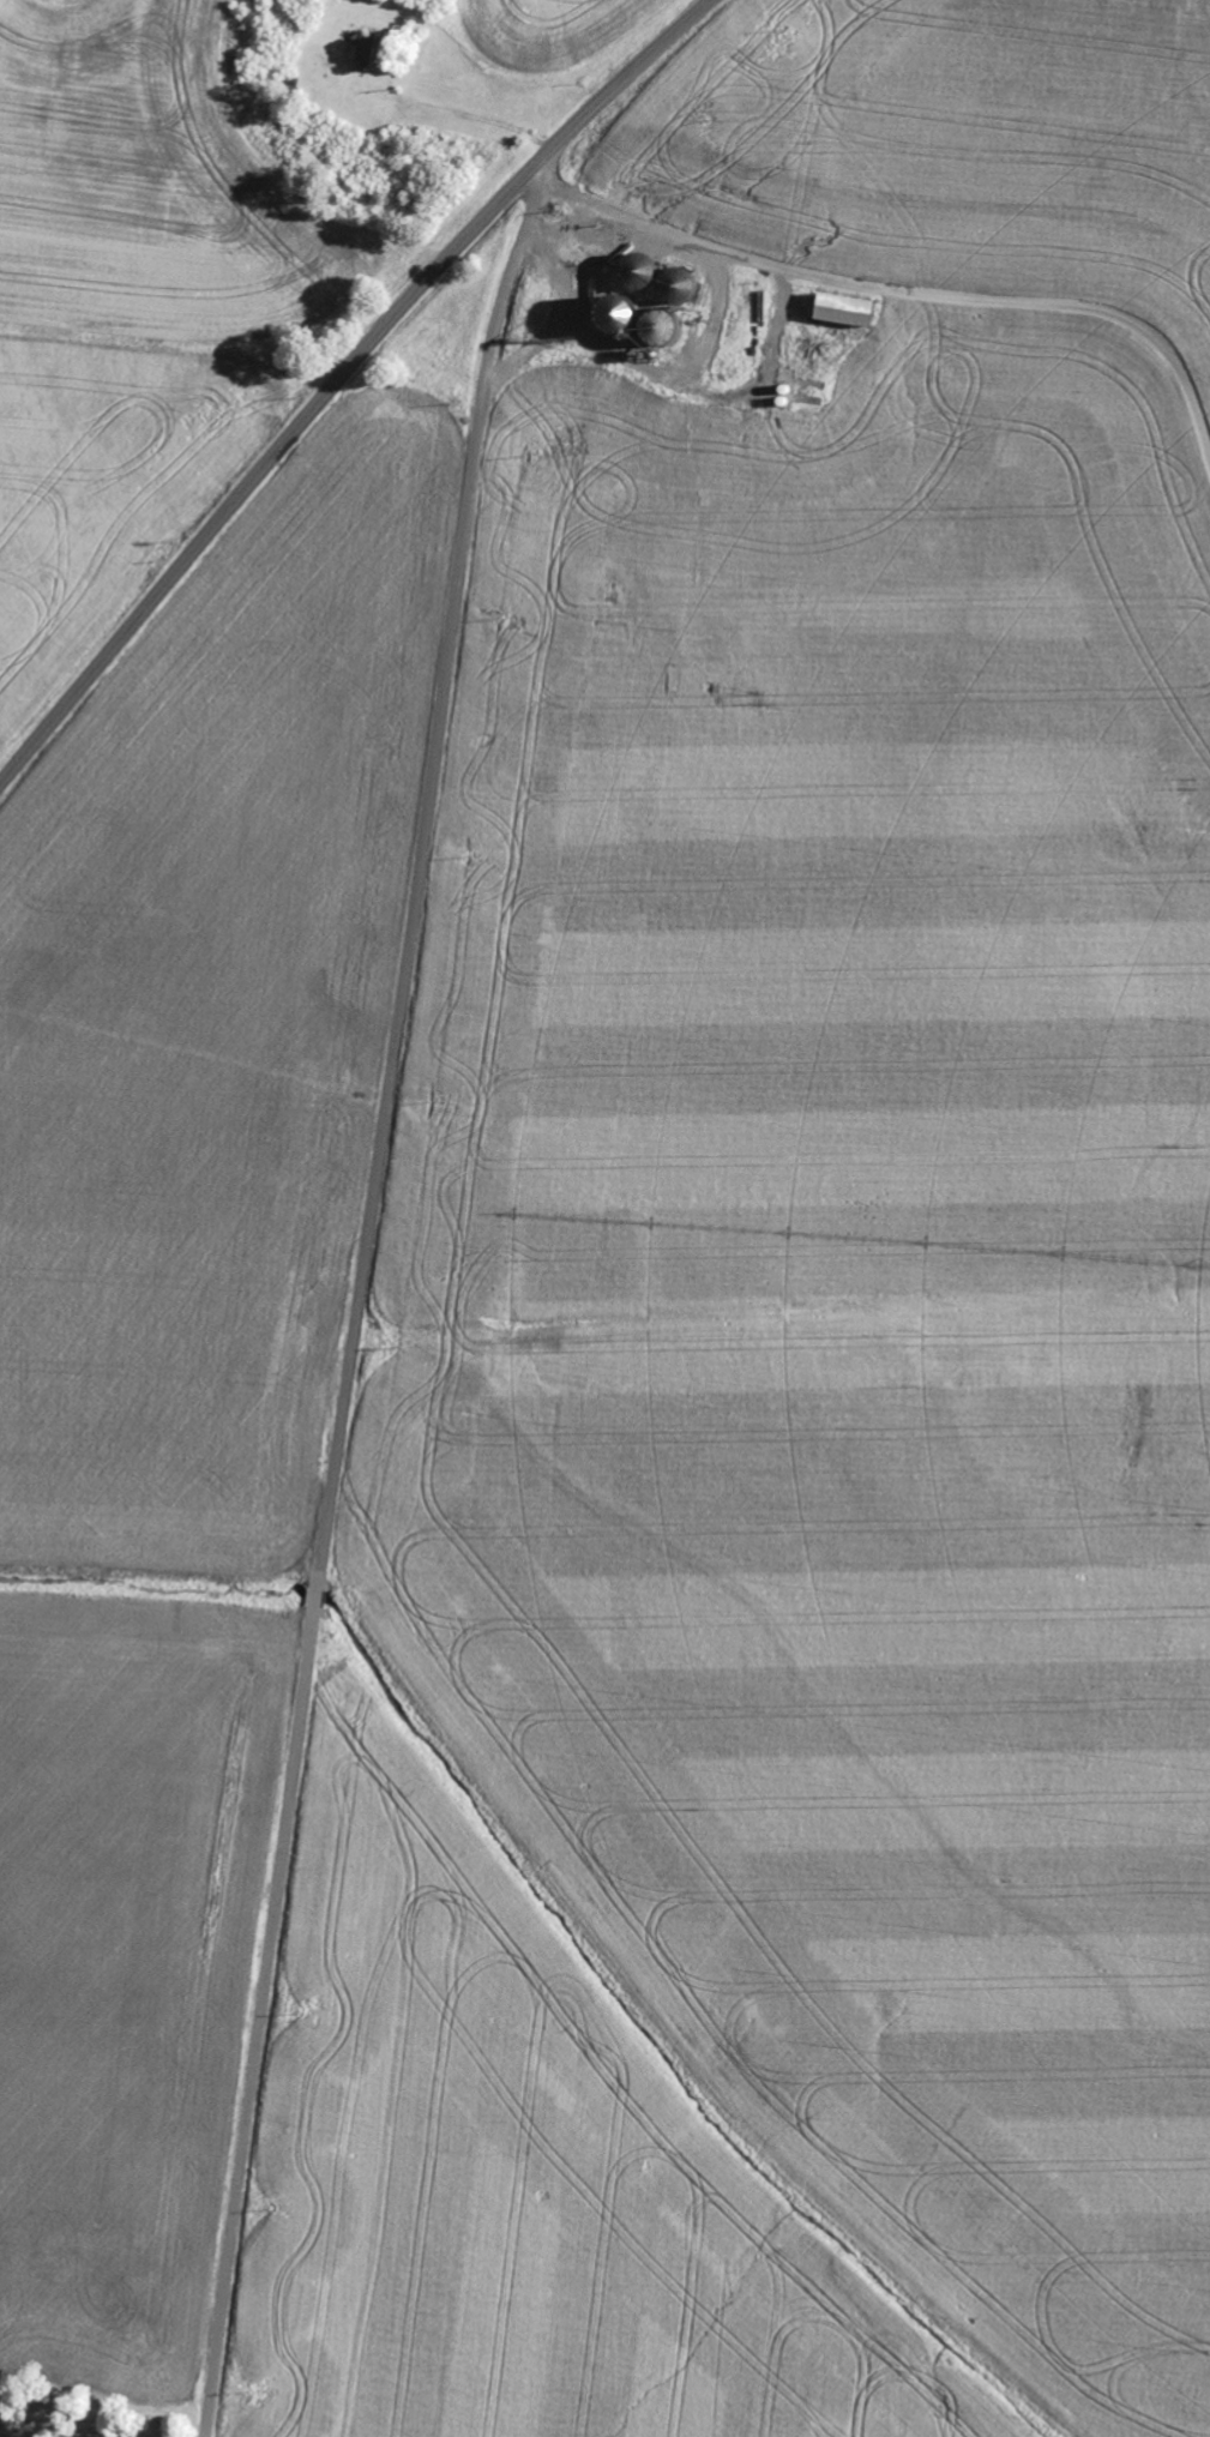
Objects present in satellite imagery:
road: (880, 234)
building: (853, 313)
road: (341, 378)
road: (362, 1292)
building: (106, 2435)
building: (85, 2436)

